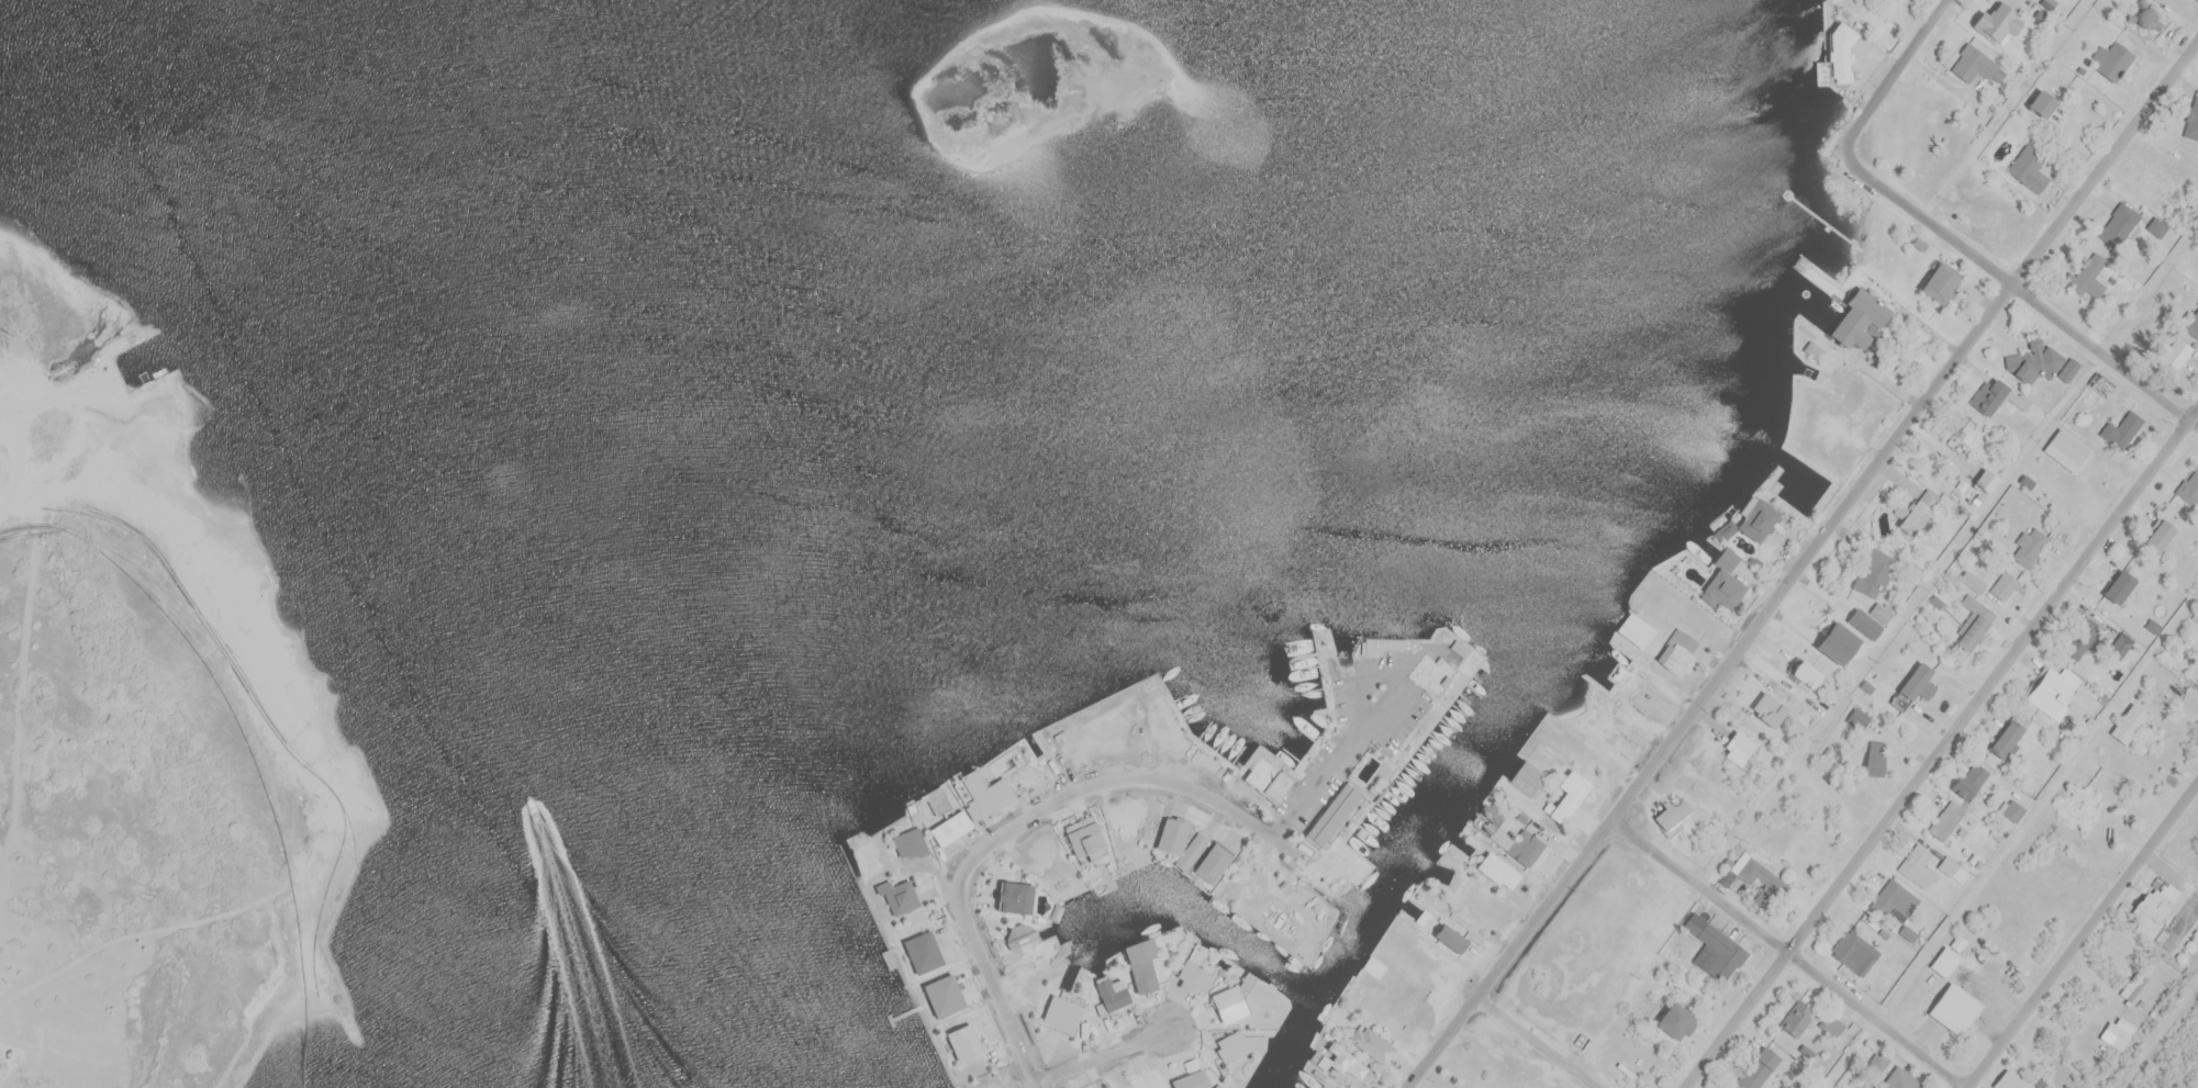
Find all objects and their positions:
building: (2143, 14)
building: (1995, 20)
building: (1839, 55)
building: (2112, 60)
building: (1973, 64)
road: (1896, 72)
building: (2040, 103)
building: (2191, 122)
building: (2028, 169)
building: (2121, 226)
building: (2156, 226)
building: (2087, 277)
building: (1939, 282)
road: (2020, 288)
building: (1857, 318)
building: (2193, 326)
building: (2175, 357)
building: (2037, 359)
building: (2068, 370)
building: (1837, 377)
building: (2100, 383)
building: (1995, 396)
building: (2121, 429)
building: (1960, 430)
building: (1985, 481)
building: (2189, 487)
building: (1917, 511)
building: (1758, 520)
building: (2156, 534)
building: (2029, 546)
road: (1803, 563)
building: (1875, 574)
building: (1973, 581)
building: (2004, 586)
building: (2118, 587)
building: (1723, 588)
building: (1864, 624)
building: (1972, 624)
building: (1634, 630)
building: (2085, 641)
building: (1836, 643)
building: (1371, 646)
building: (1676, 650)
building: (1805, 672)
building: (1910, 686)
building: (2051, 688)
building: (1769, 708)
building: (1859, 718)
building: (2128, 724)
building: (2005, 738)
building: (1038, 745)
building: (1738, 748)
road: (1941, 748)
building: (1874, 759)
road: (1134, 778)
building: (1263, 779)
building: (1970, 779)
building: (1567, 796)
road: (2038, 807)
building: (975, 809)
building: (2013, 811)
building: (1672, 814)
building: (1331, 815)
building: (1950, 820)
building: (1171, 835)
building: (1084, 839)
building: (908, 843)
building: (1524, 848)
building: (1801, 853)
building: (1914, 859)
building: (1212, 864)
building: (1496, 871)
building: (1758, 874)
building: (899, 896)
building: (1011, 897)
building: (1893, 900)
building: (2153, 901)
road: (2082, 934)
building: (1019, 938)
building: (1450, 939)
building: (1714, 949)
road: (1793, 950)
building: (921, 952)
building: (1854, 952)
building: (1140, 966)
building: (1193, 977)
road: (991, 979)
building: (2135, 987)
building: (1112, 994)
building: (1227, 1005)
building: (1953, 1008)
building: (1061, 1010)
building: (1797, 1018)
building: (1831, 1024)
building: (2117, 1032)
building: (961, 1041)
road: (1539, 1042)
building: (1371, 1044)
building: (1231, 1048)
road: (1852, 1053)
road: (1104, 1054)
building: (1878, 1061)
building: (1345, 1062)
building: (1146, 1078)
building: (1190, 1079)
building: (1900, 1079)
building: (985, 1085)

